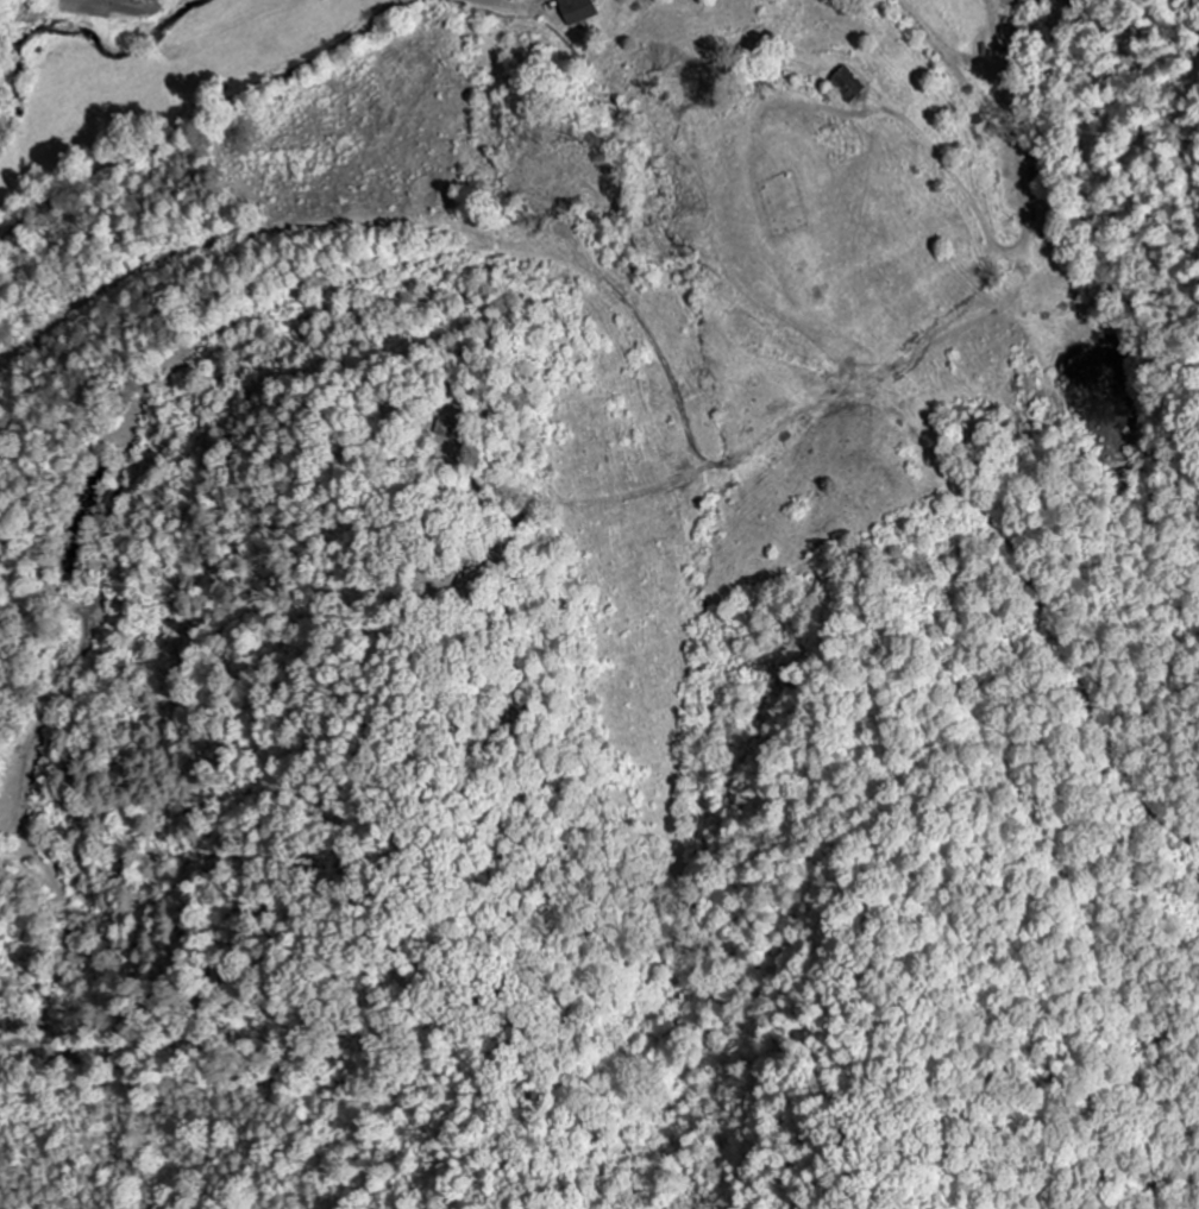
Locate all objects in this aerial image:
building: (577, 11)
building: (850, 86)
road: (195, 121)

